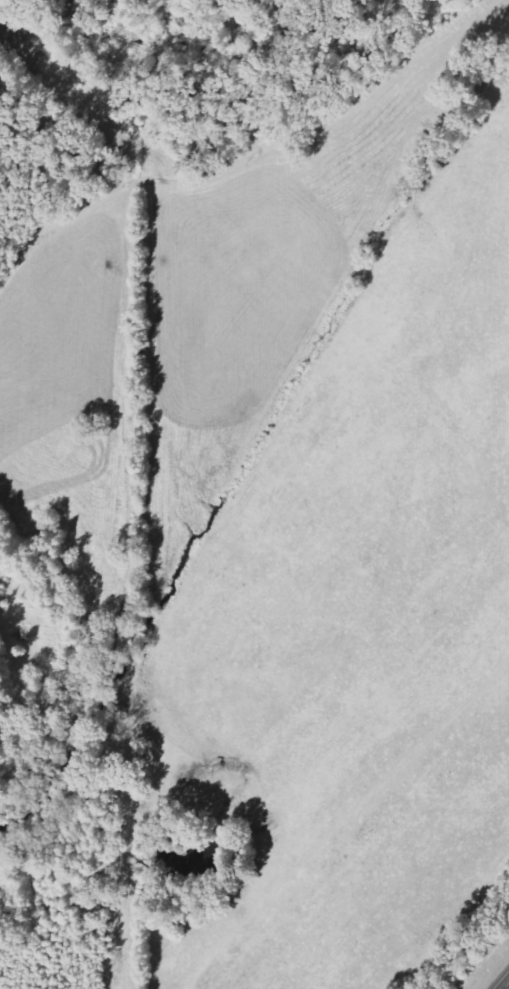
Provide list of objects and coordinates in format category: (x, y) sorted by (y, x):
road: (505, 985)

